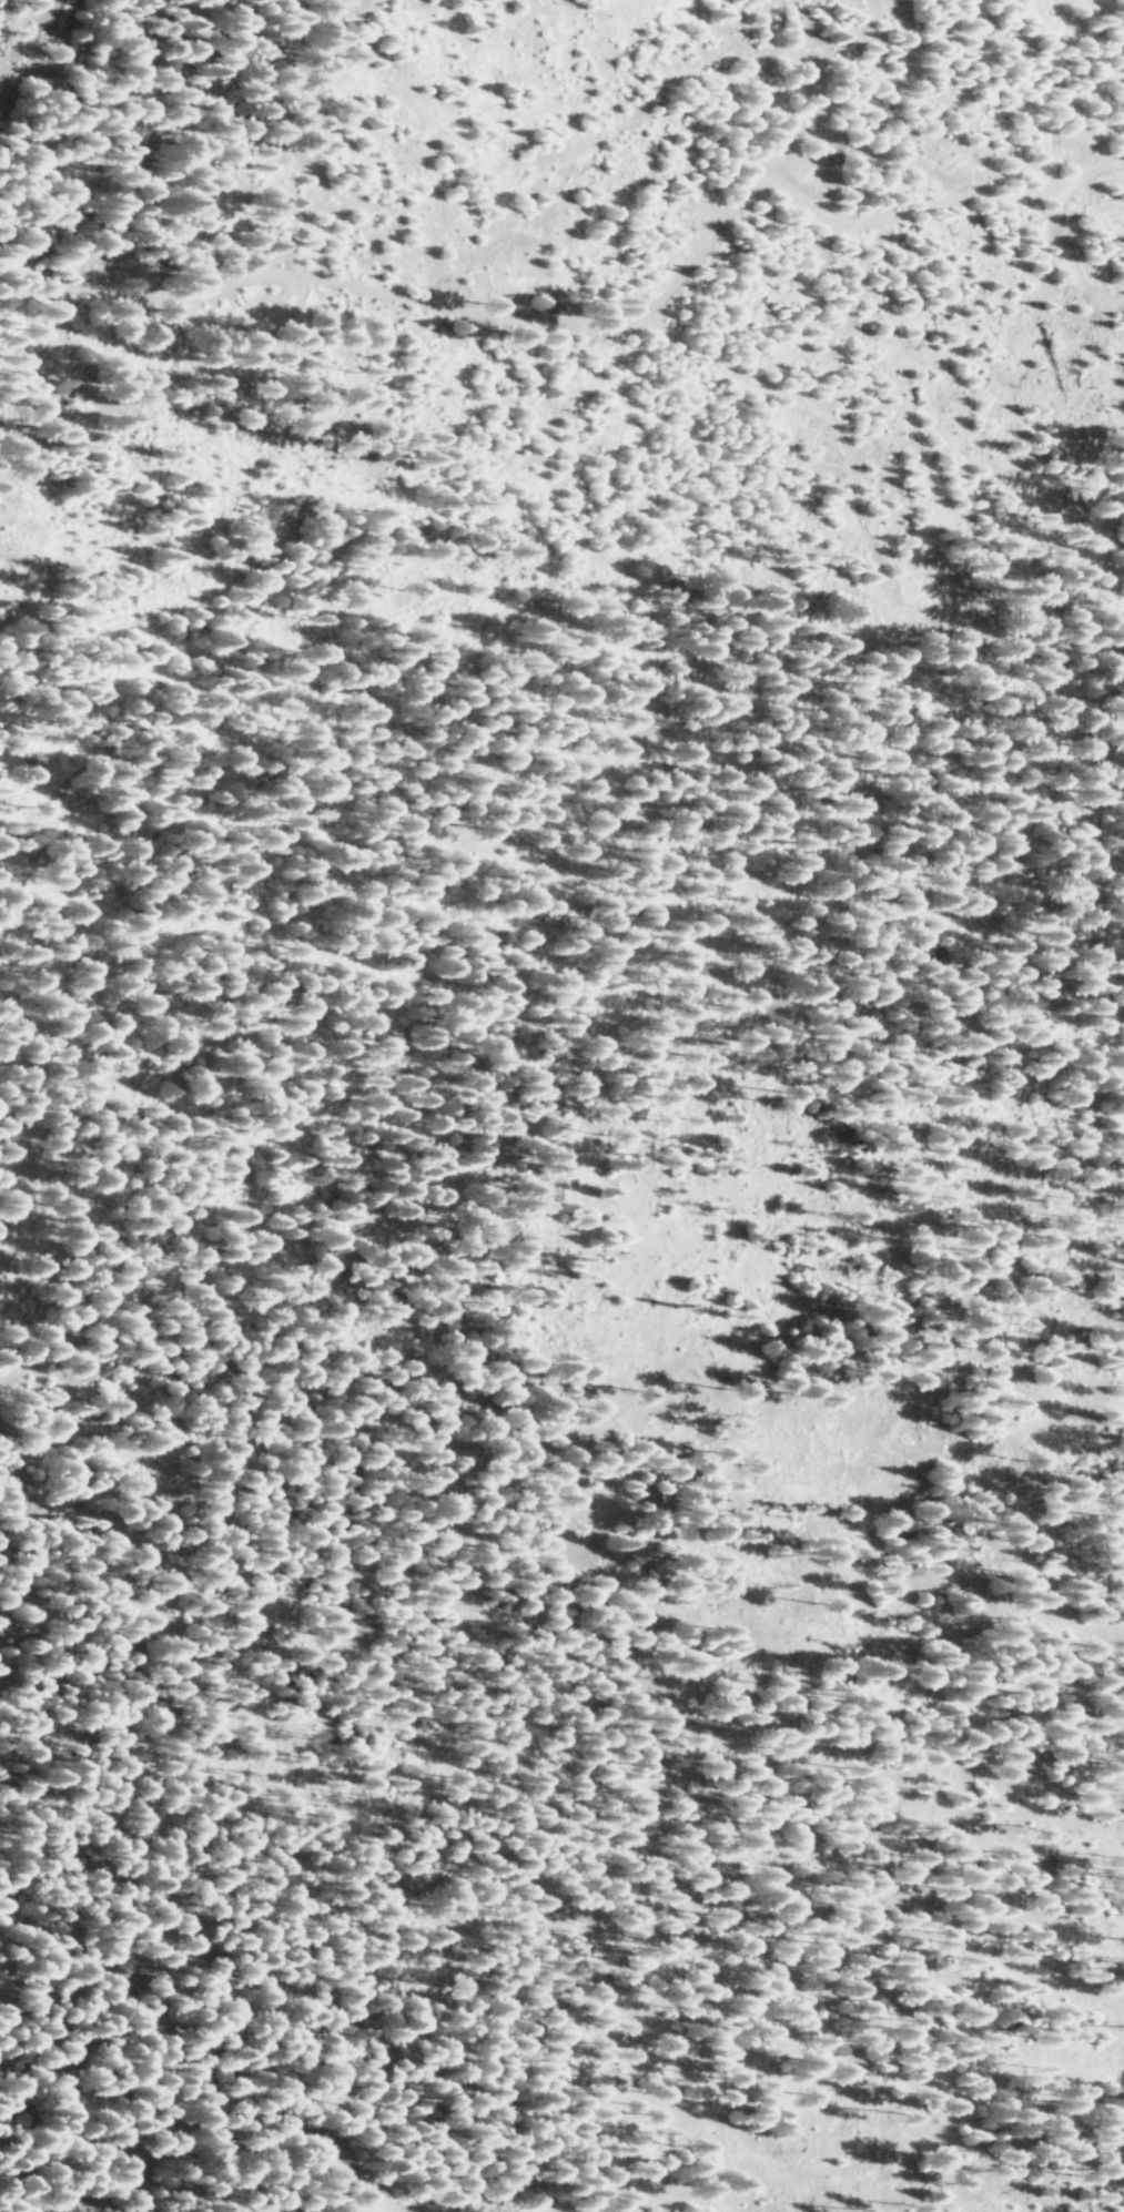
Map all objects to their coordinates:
road: (574, 319)
road: (166, 385)
road: (818, 406)
road: (279, 1798)
road: (32, 2200)

